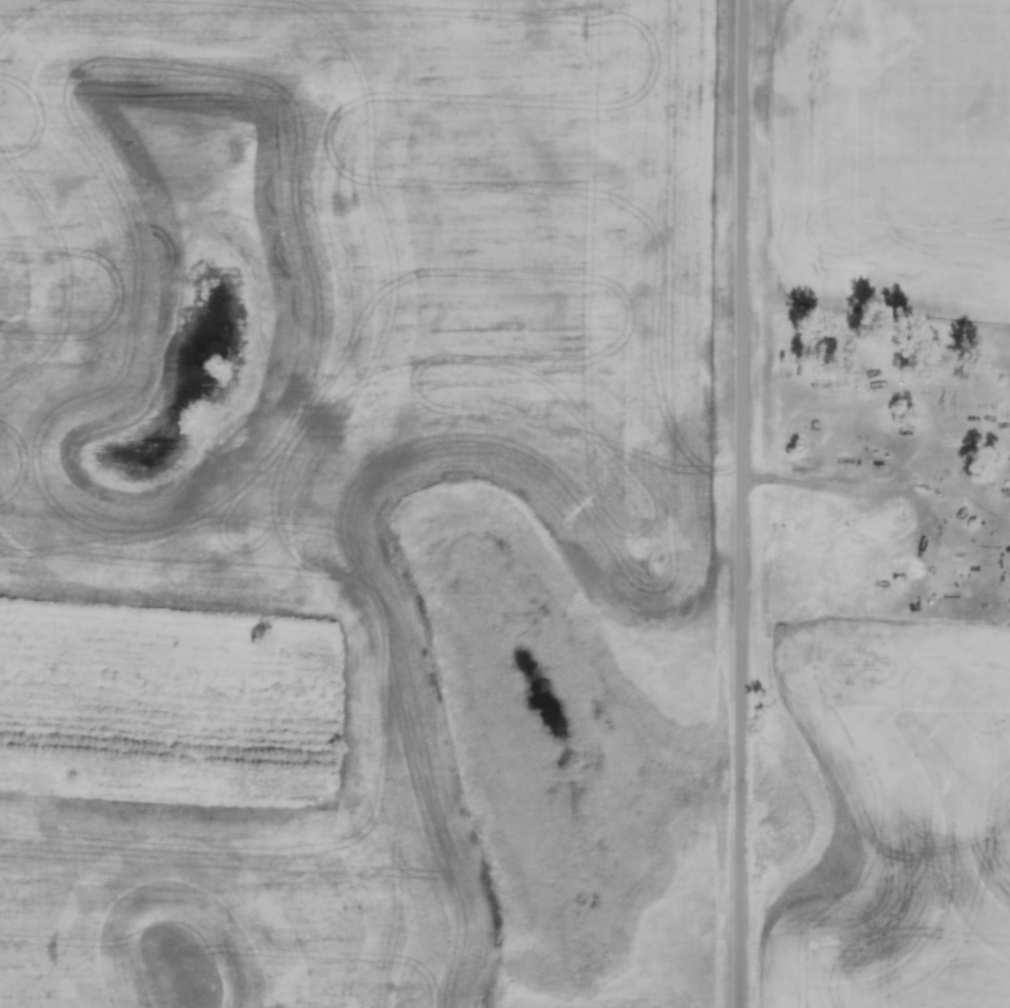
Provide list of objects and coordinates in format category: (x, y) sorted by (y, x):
road: (739, 504)

